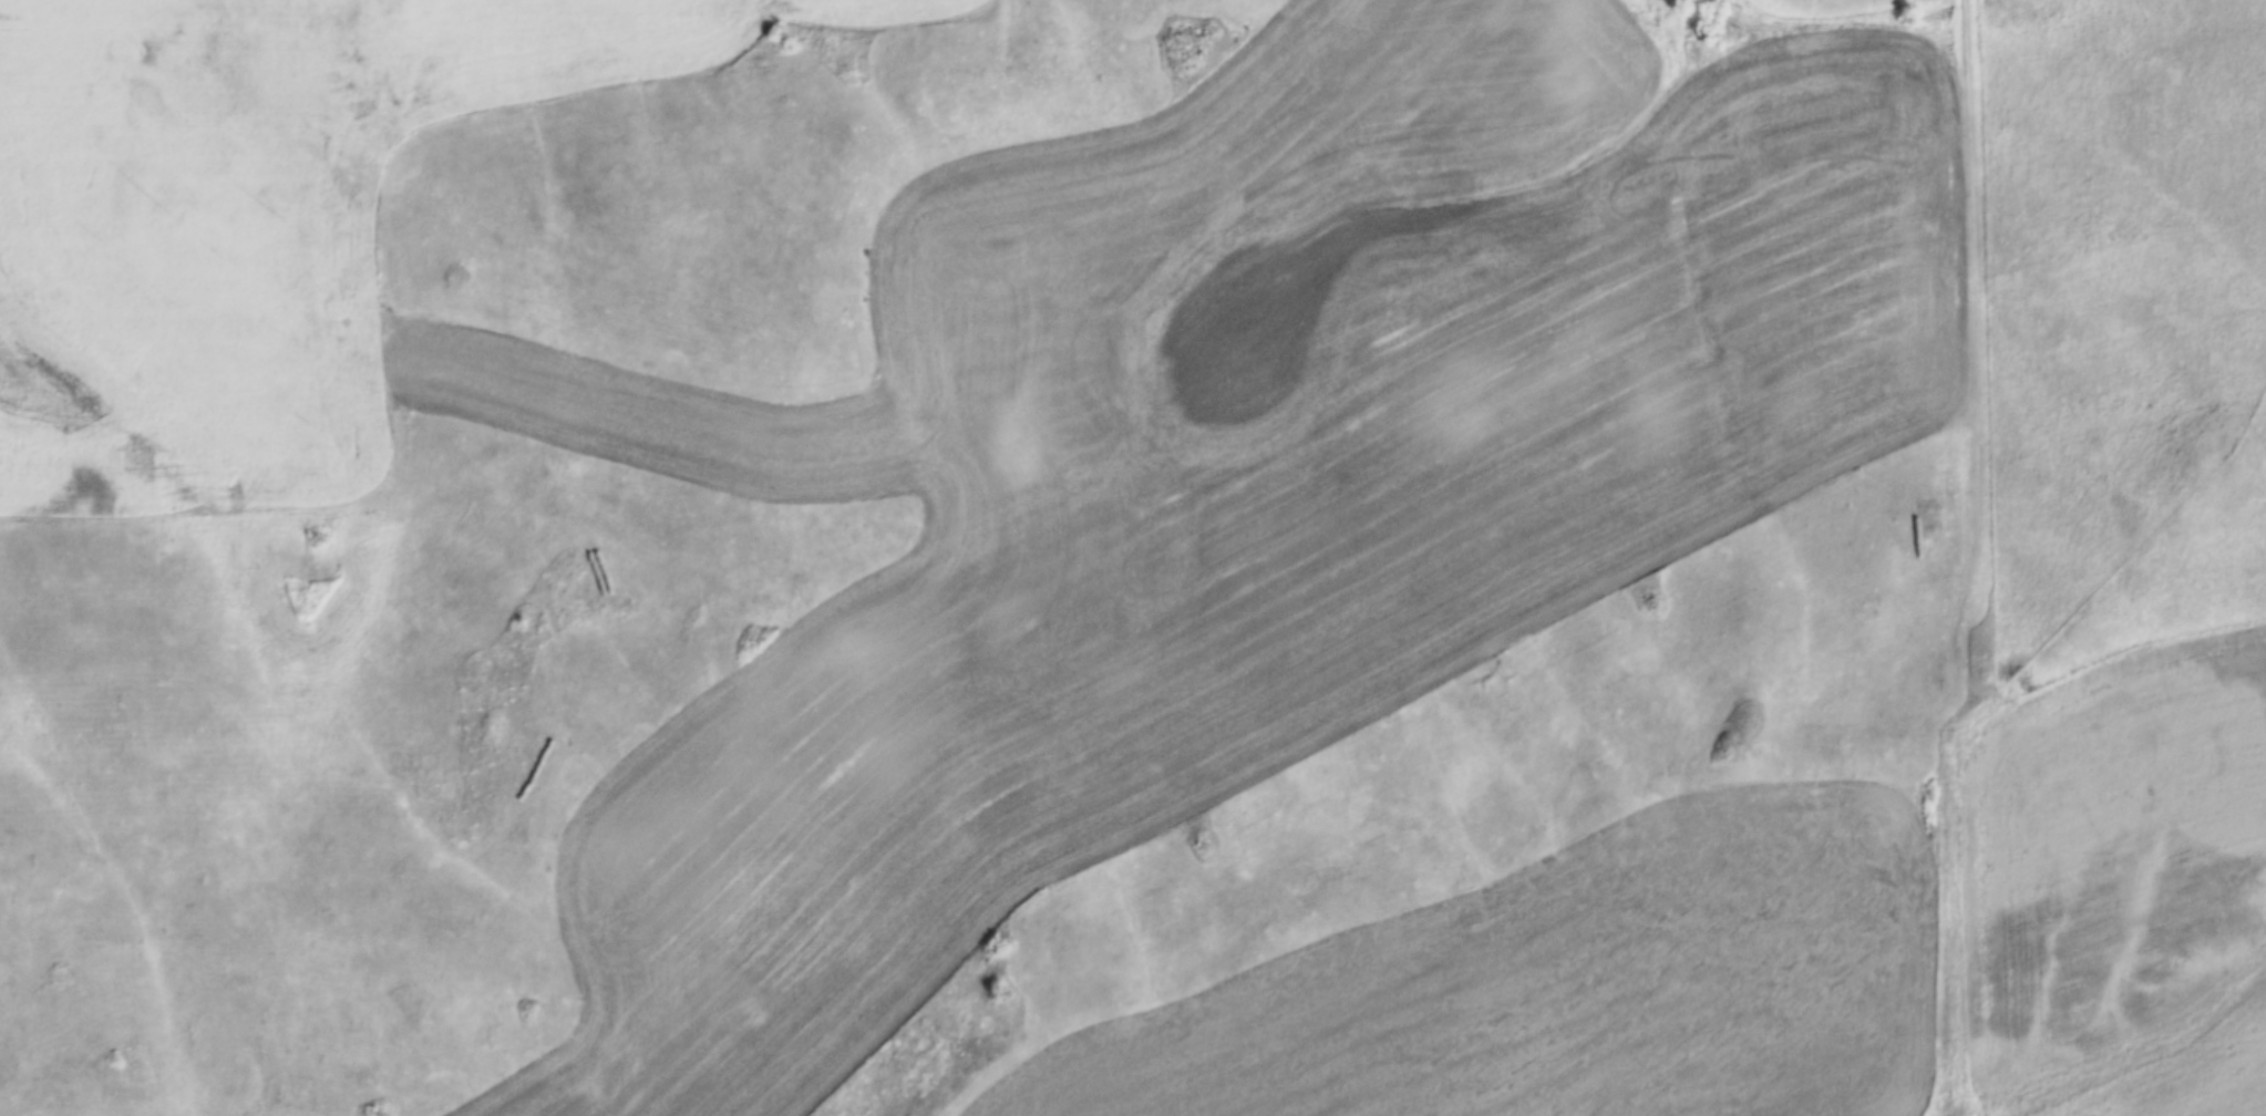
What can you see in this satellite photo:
road: (1979, 360)

